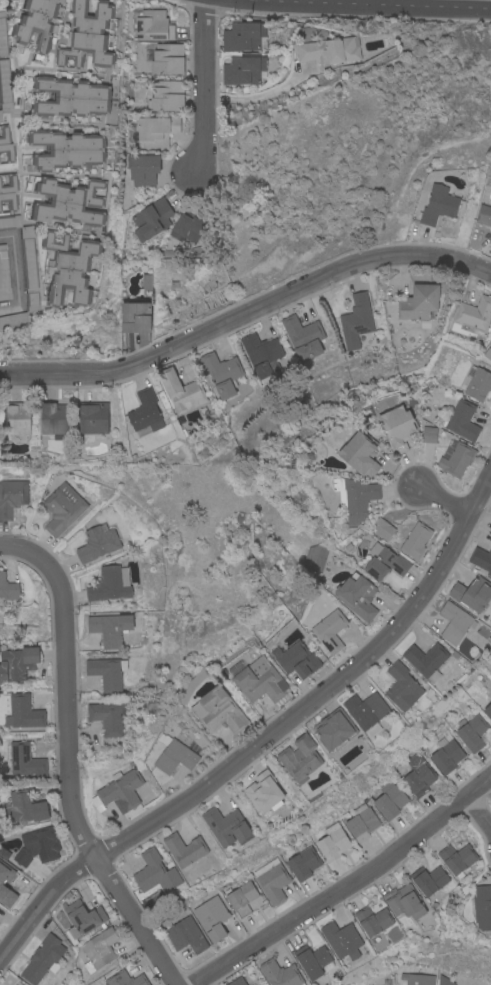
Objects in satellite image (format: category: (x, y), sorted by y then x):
road: (372, 4)
building: (36, 24)
building: (152, 24)
building: (3, 34)
building: (87, 35)
building: (244, 36)
building: (330, 49)
building: (167, 58)
building: (243, 69)
building: (5, 85)
road: (202, 87)
building: (167, 95)
building: (70, 96)
building: (0, 115)
building: (157, 130)
building: (6, 143)
building: (65, 148)
building: (143, 168)
building: (9, 191)
building: (68, 201)
building: (438, 204)
building: (484, 214)
building: (152, 219)
building: (187, 227)
building: (490, 237)
building: (26, 260)
building: (68, 267)
building: (4, 273)
road: (17, 273)
building: (146, 281)
building: (419, 302)
road: (246, 311)
building: (475, 313)
building: (135, 316)
building: (14, 319)
building: (355, 321)
building: (303, 336)
building: (490, 340)
building: (487, 353)
building: (262, 355)
building: (222, 372)
building: (477, 382)
building: (181, 390)
building: (145, 411)
building: (15, 417)
building: (93, 417)
building: (55, 419)
building: (462, 420)
building: (398, 427)
building: (429, 434)
building: (361, 453)
building: (456, 459)
building: (12, 495)
building: (355, 496)
road: (444, 501)
building: (62, 507)
building: (382, 527)
building: (415, 540)
building: (97, 543)
building: (315, 558)
building: (481, 558)
building: (384, 561)
building: (109, 583)
building: (7, 586)
building: (472, 593)
building: (356, 596)
building: (454, 622)
building: (109, 627)
building: (330, 630)
building: (298, 659)
building: (426, 659)
building: (18, 662)
building: (105, 672)
building: (260, 680)
road: (65, 686)
building: (402, 686)
road: (323, 692)
building: (366, 709)
building: (488, 709)
building: (219, 710)
building: (23, 711)
building: (106, 716)
building: (333, 729)
building: (471, 731)
building: (174, 754)
building: (446, 754)
building: (300, 757)
building: (26, 761)
building: (418, 775)
building: (119, 791)
building: (264, 792)
building: (389, 799)
building: (24, 807)
road: (479, 810)
building: (361, 822)
building: (227, 825)
building: (332, 841)
building: (36, 846)
building: (184, 848)
building: (4, 852)
building: (457, 857)
building: (303, 862)
building: (155, 872)
building: (430, 880)
building: (273, 882)
road: (347, 887)
building: (5, 889)
building: (241, 897)
building: (404, 900)
road: (43, 902)
building: (482, 906)
building: (211, 916)
building: (82, 917)
building: (373, 919)
road: (137, 921)
building: (184, 934)
building: (341, 939)
building: (99, 948)
building: (43, 958)
building: (312, 959)
building: (280, 973)
building: (126, 978)
building: (417, 978)
building: (444, 980)
building: (236, 981)
building: (14, 984)

